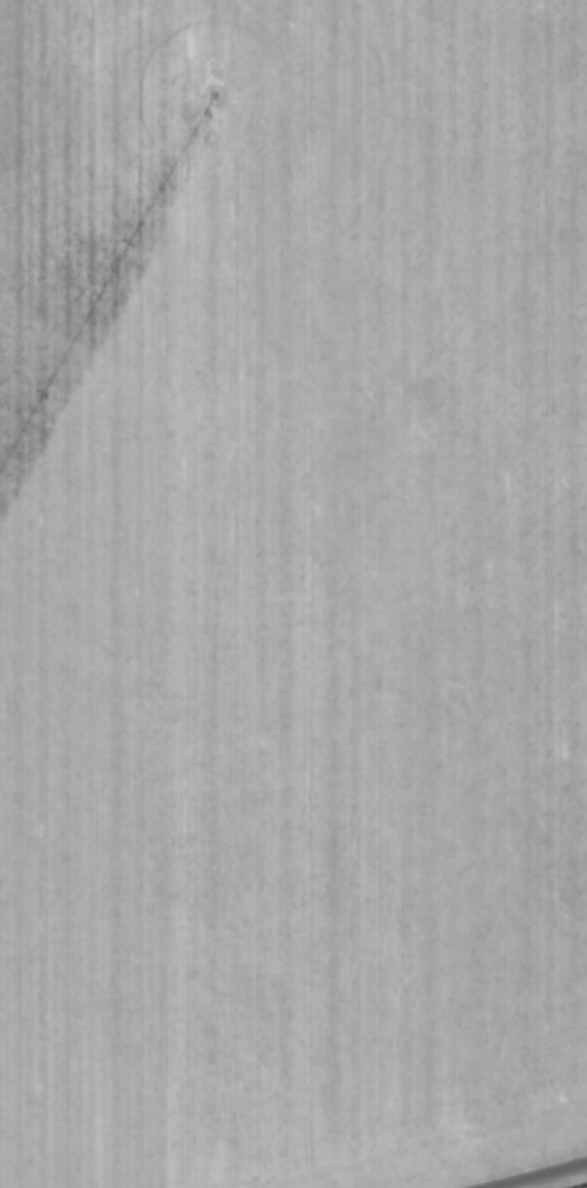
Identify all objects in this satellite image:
crop: (293, 594)
road: (533, 1174)

